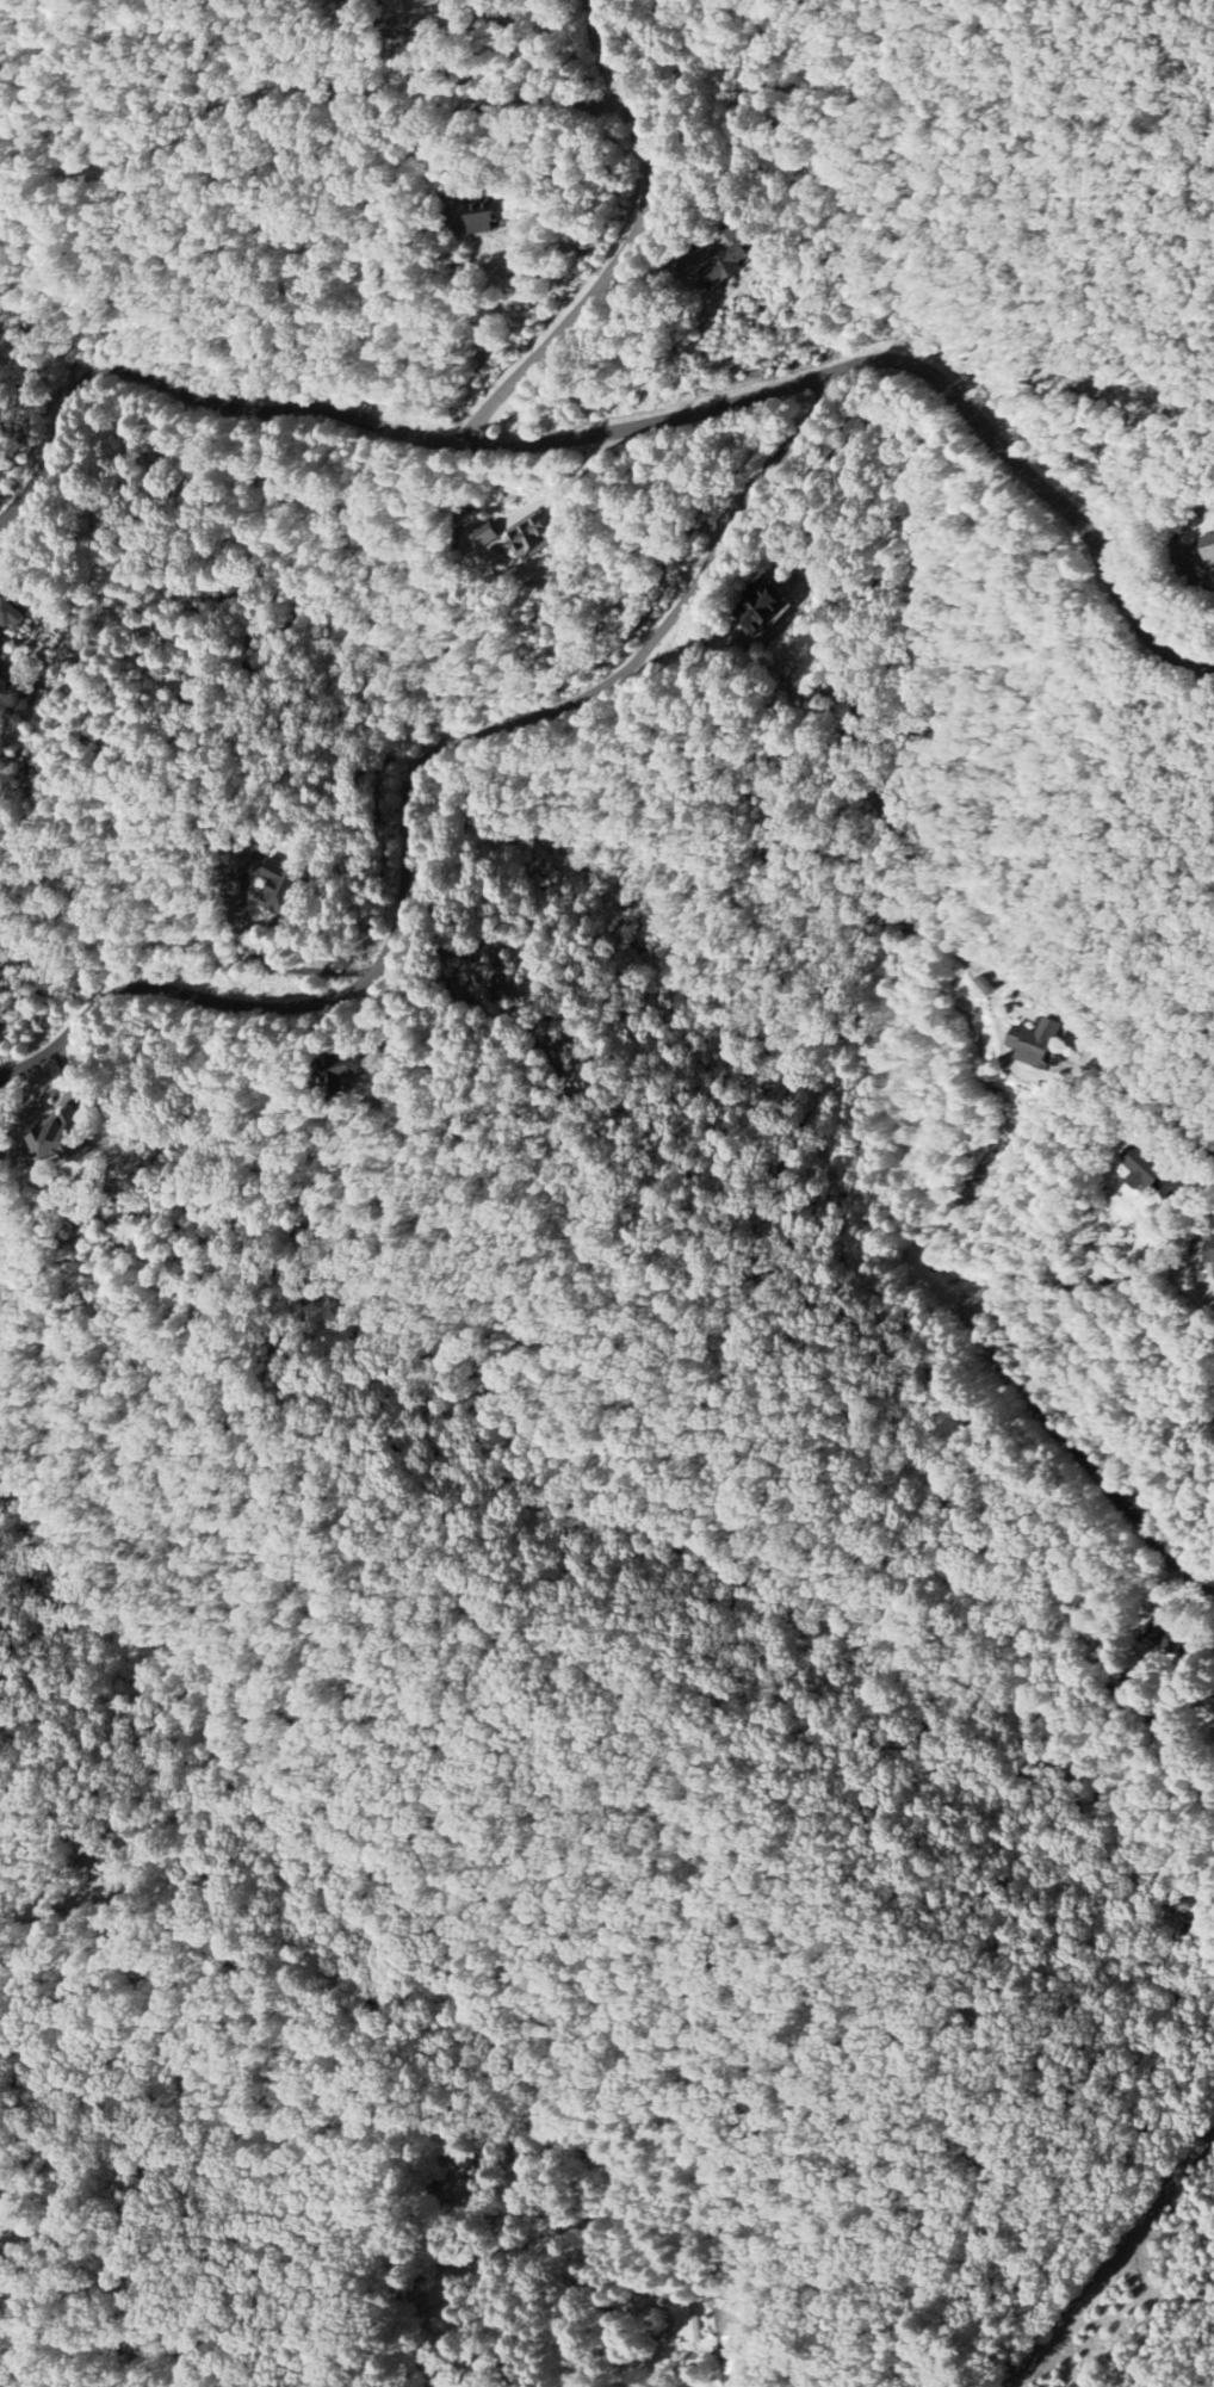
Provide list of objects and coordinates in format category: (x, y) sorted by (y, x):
road: (487, 107)
road: (633, 245)
building: (727, 267)
road: (908, 360)
road: (192, 396)
building: (531, 536)
road: (413, 785)
road: (267, 959)
building: (986, 987)
building: (1034, 1044)
road: (1171, 1109)
building: (56, 1143)
building: (1147, 1176)
road: (1089, 1464)
road: (1182, 1560)
road: (1188, 1746)
road: (535, 2170)
building: (735, 2350)

